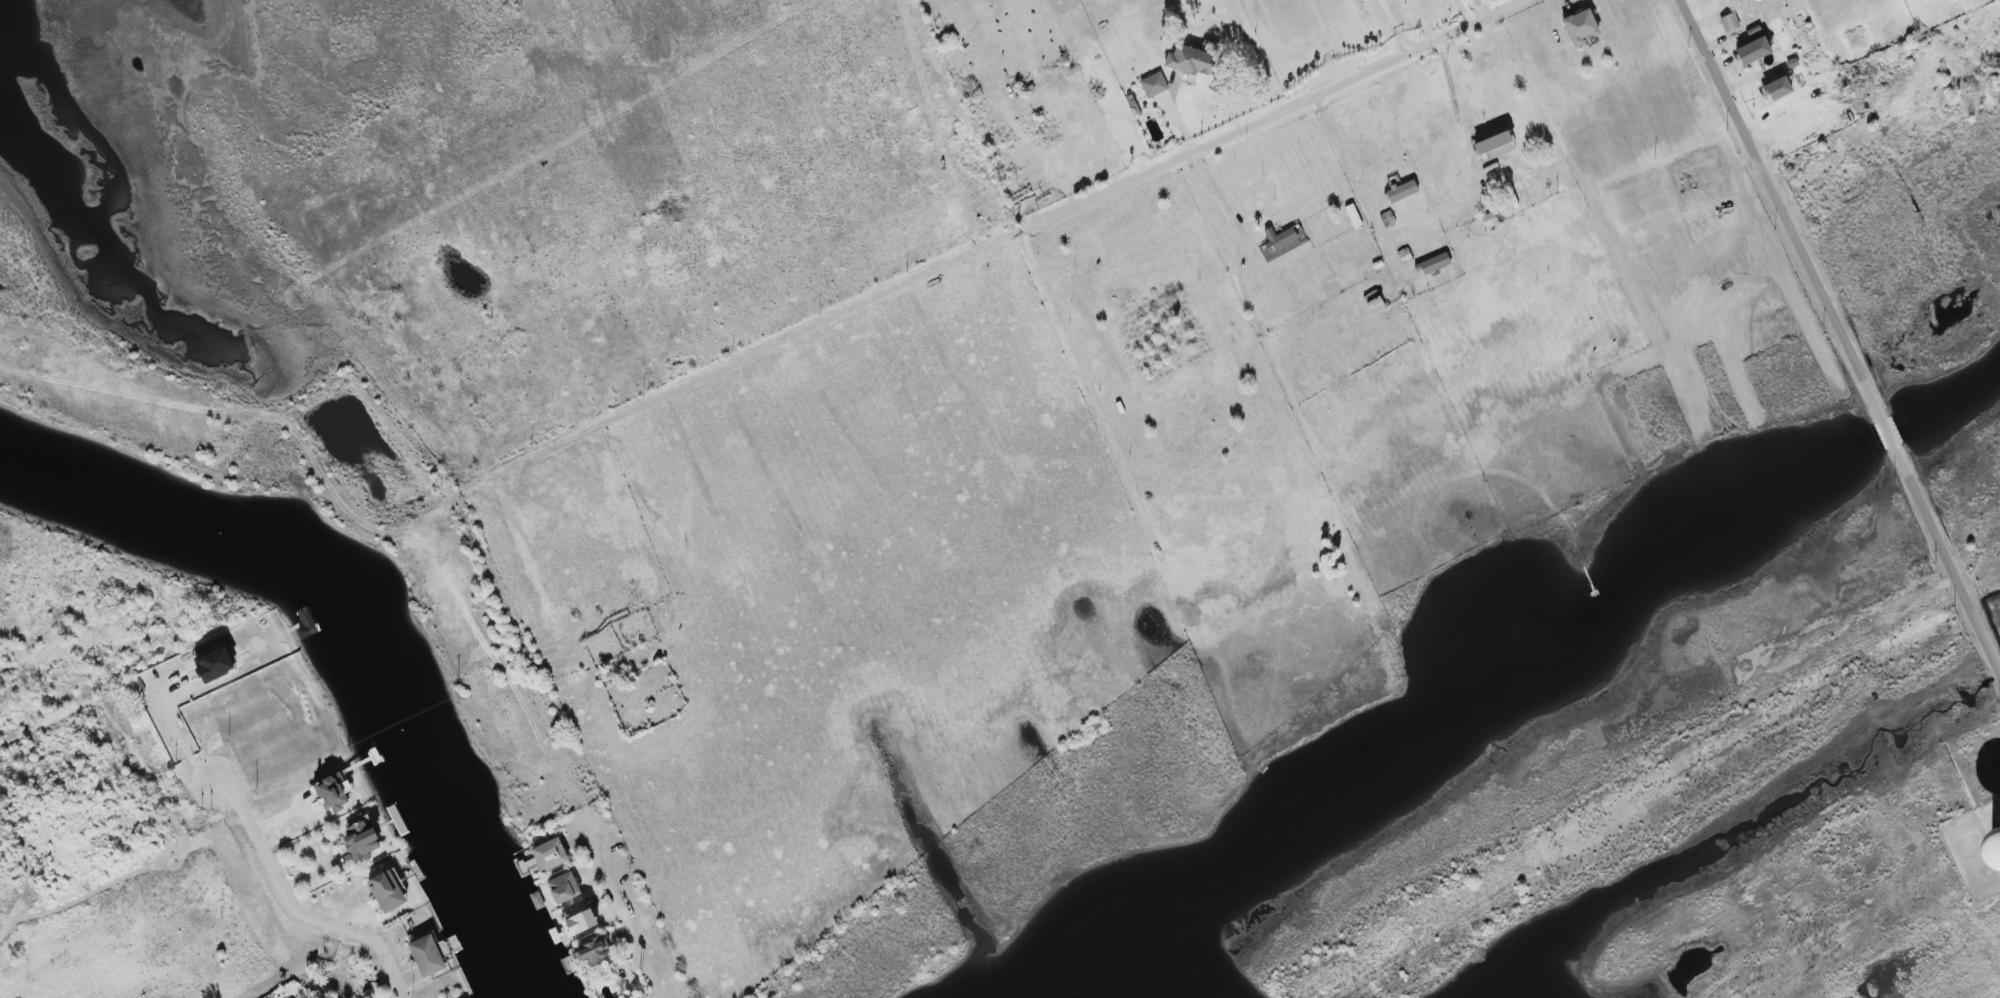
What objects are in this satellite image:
building: (1729, 22)
road: (1394, 27)
building: (1580, 27)
building: (1753, 51)
building: (1190, 61)
building: (1154, 85)
building: (1775, 90)
building: (1134, 107)
road: (1457, 121)
road: (1115, 189)
building: (1402, 191)
road: (1220, 202)
building: (1353, 216)
building: (1282, 242)
building: (1433, 264)
road: (1844, 335)
road: (240, 415)
road: (562, 443)
building: (362, 840)
building: (550, 855)
building: (564, 887)
building: (388, 891)
road: (296, 907)
road: (623, 914)
building: (594, 950)
building: (433, 953)

